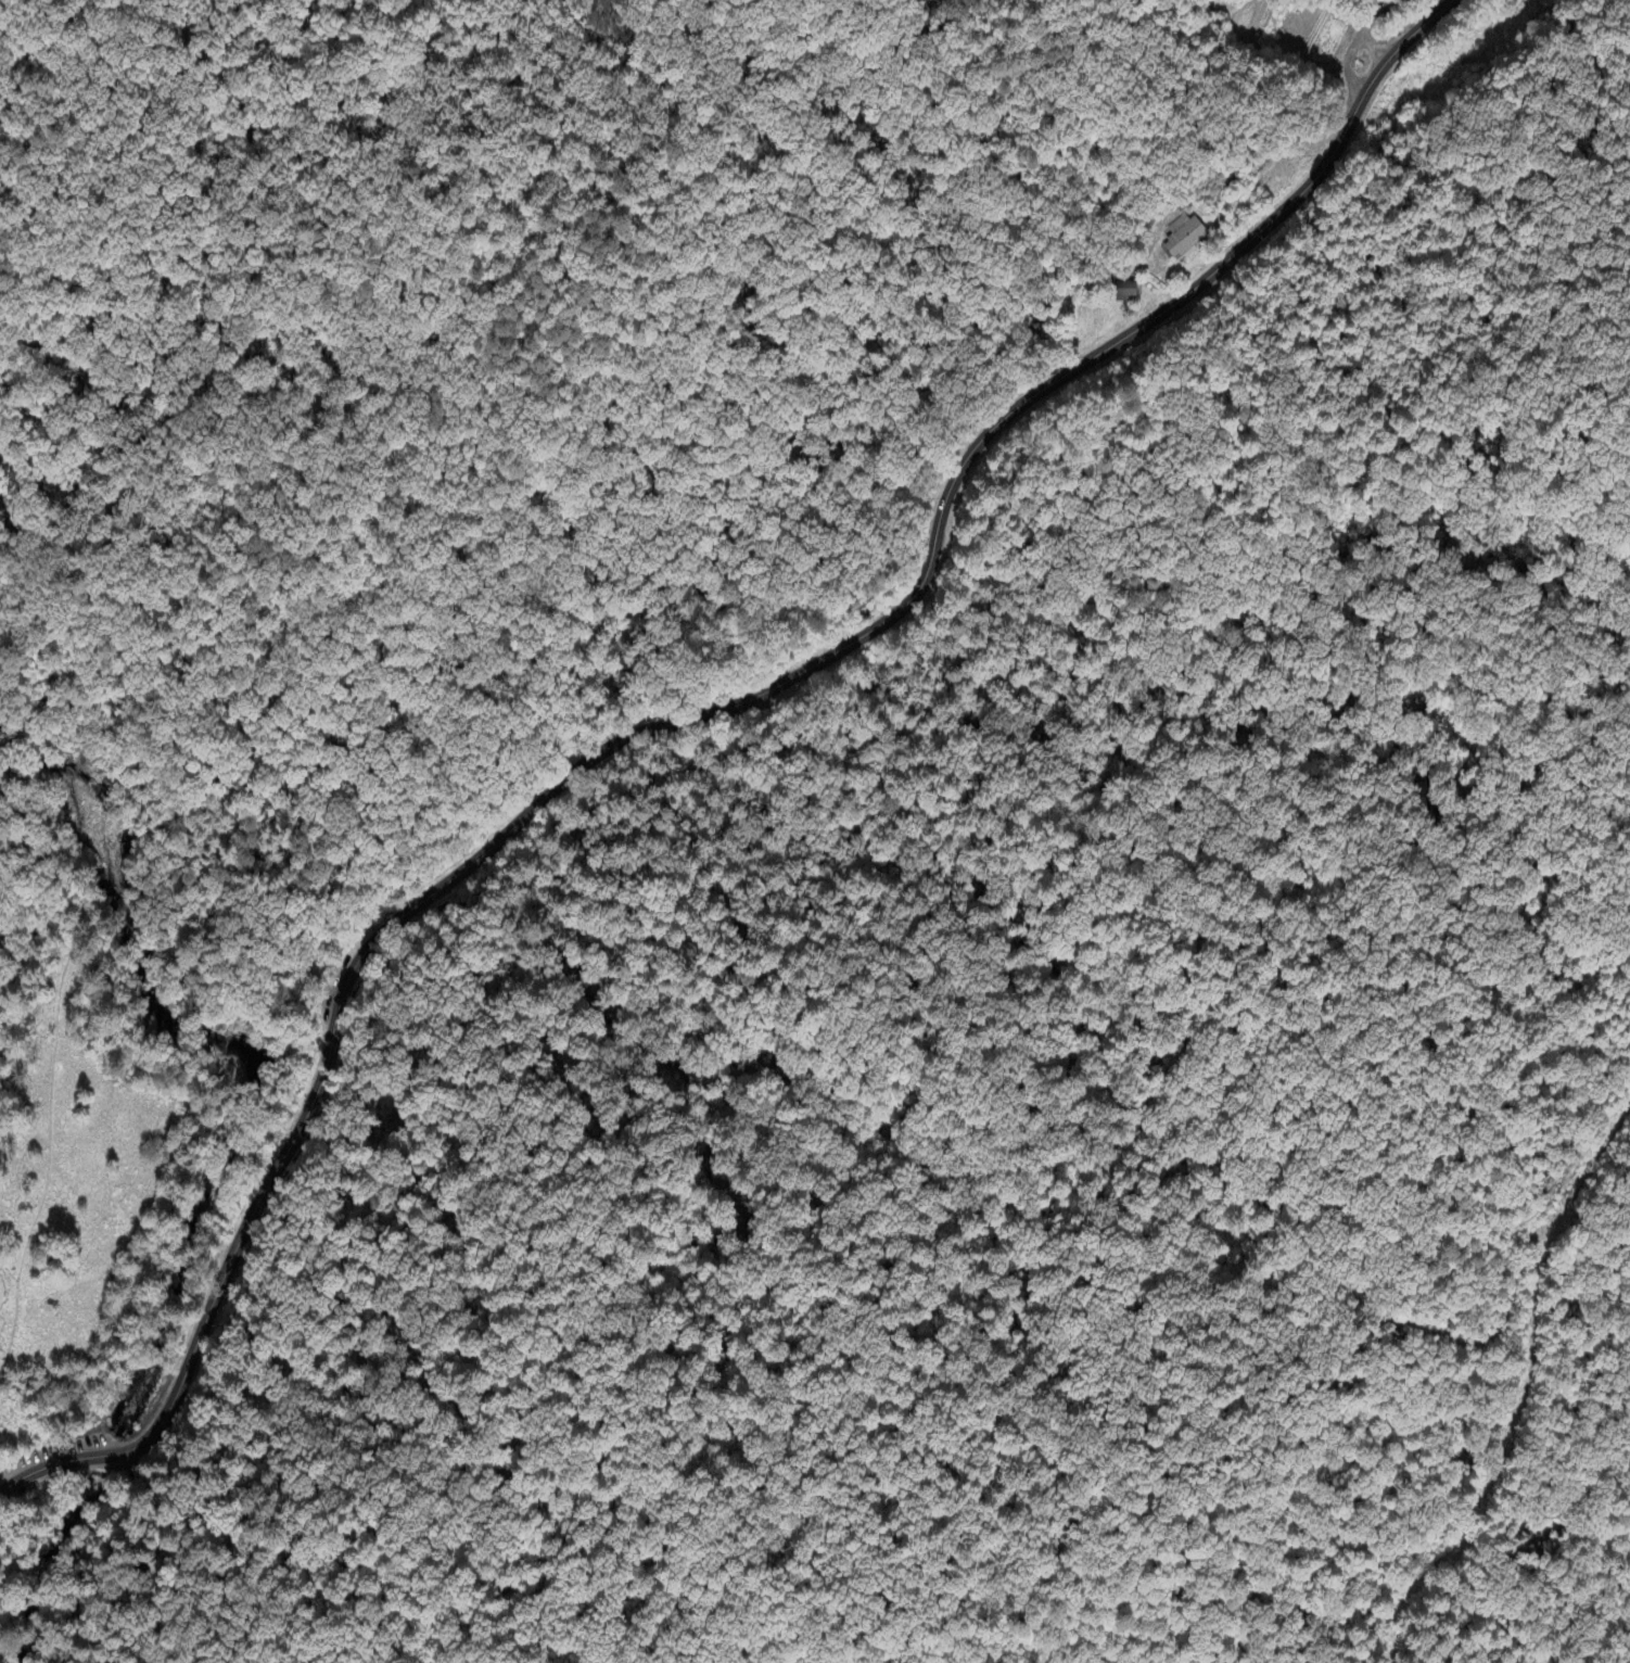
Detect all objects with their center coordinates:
road: (1363, 28)
road: (1348, 75)
building: (1185, 237)
road: (678, 726)
road: (58, 1084)
parking lot: (138, 1463)
road: (2, 1474)
road: (130, 1554)

